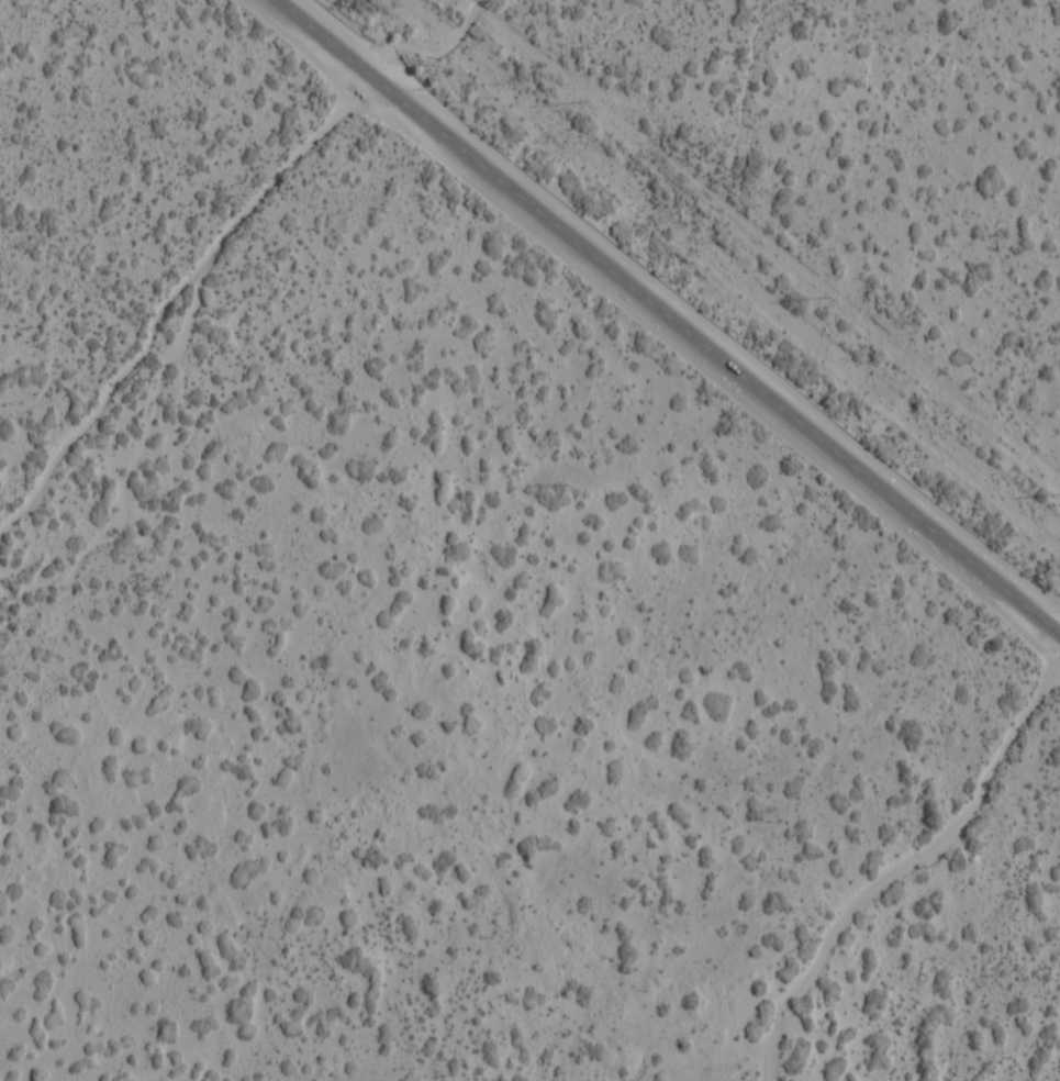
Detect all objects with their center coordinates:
road: (668, 316)

